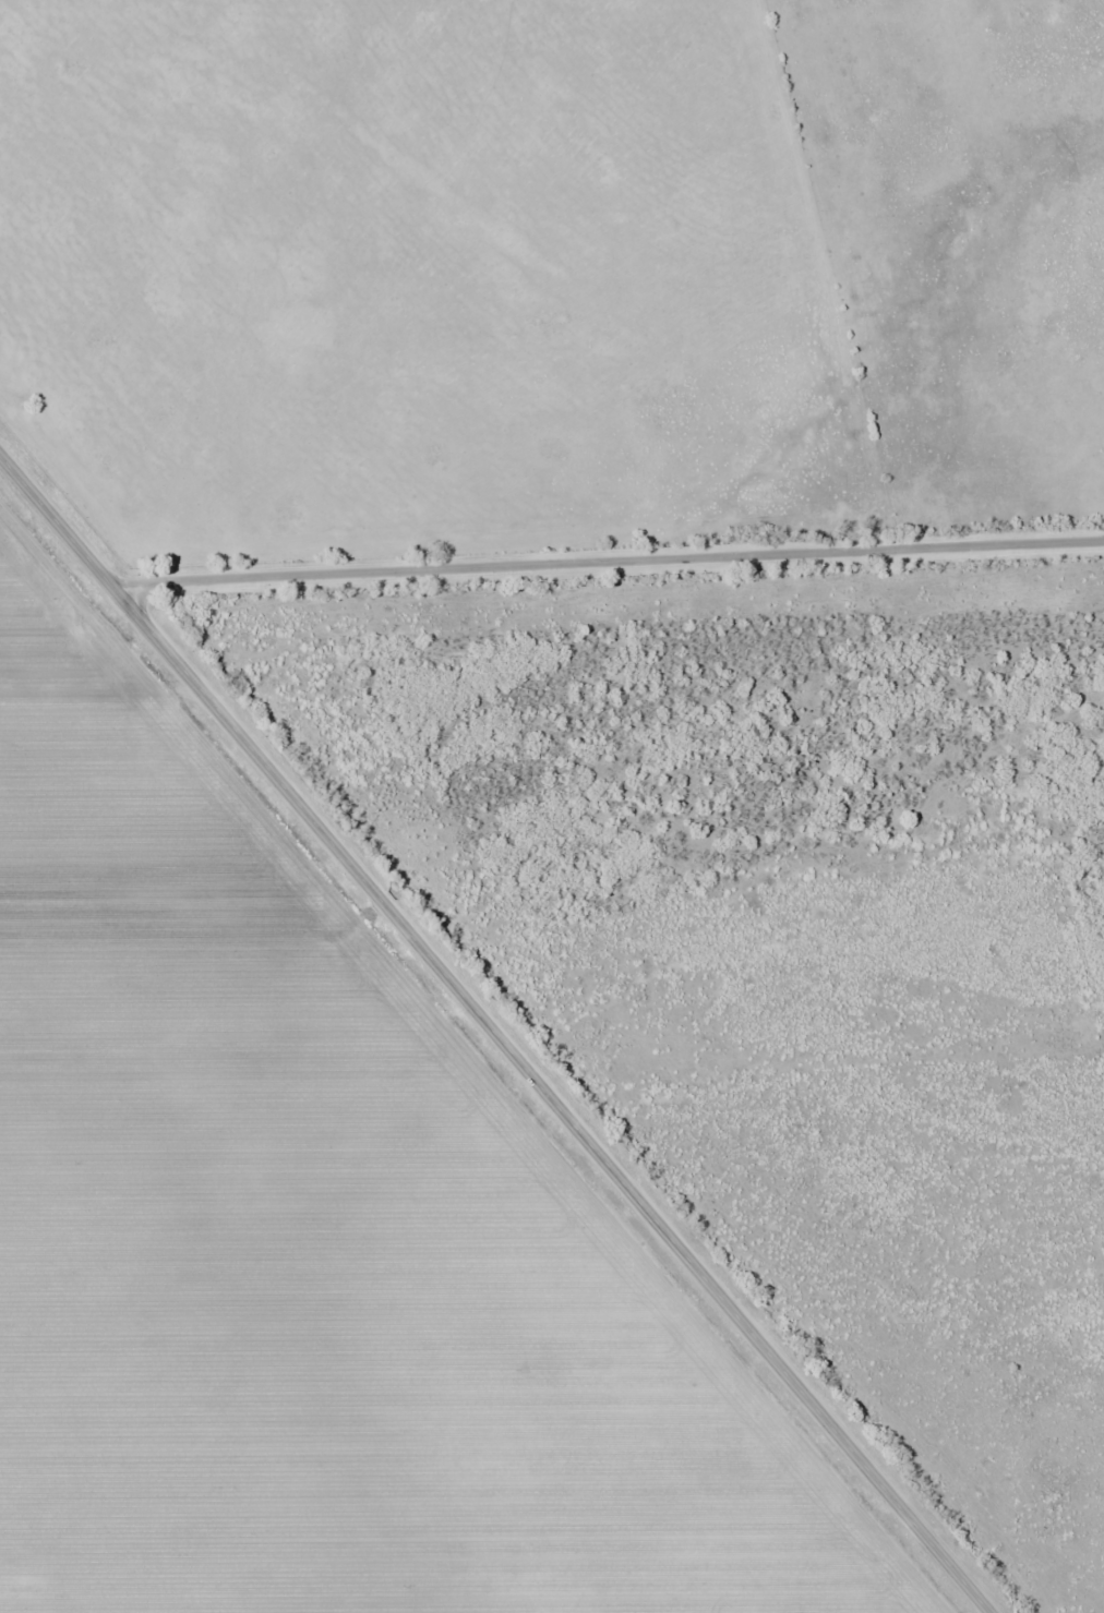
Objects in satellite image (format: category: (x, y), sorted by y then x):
road: (609, 563)
road: (494, 1034)

